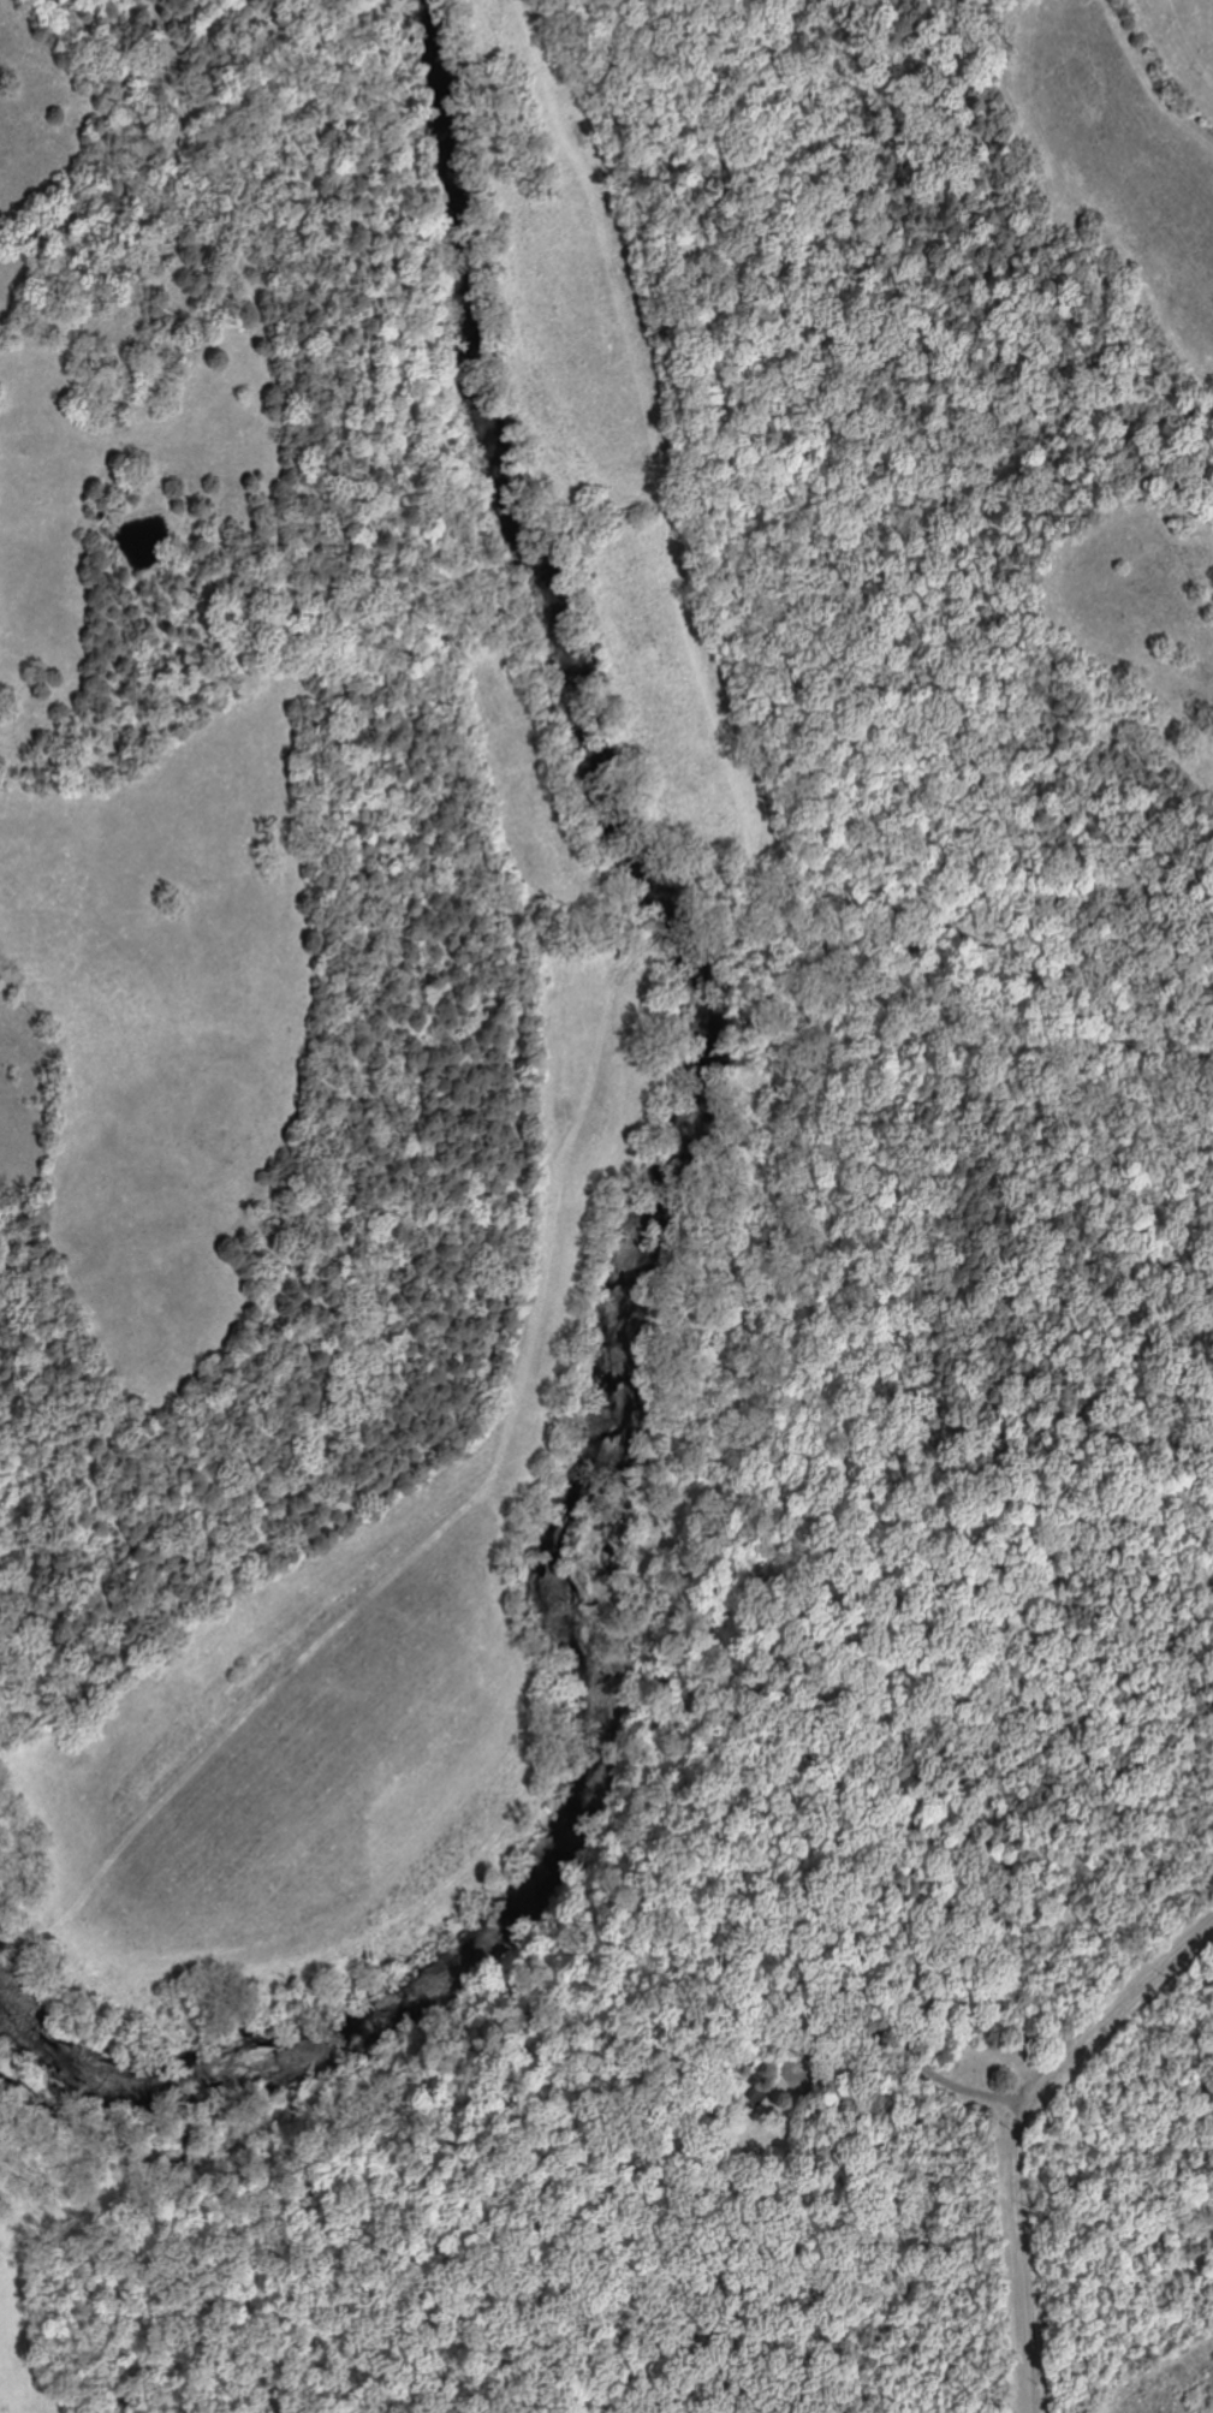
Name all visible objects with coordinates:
road: (1019, 2128)

